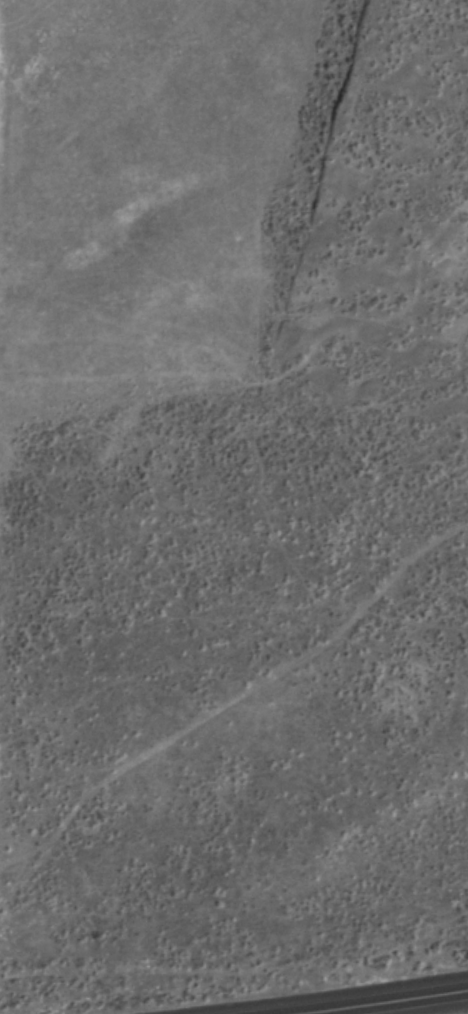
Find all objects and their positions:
road: (394, 1003)

